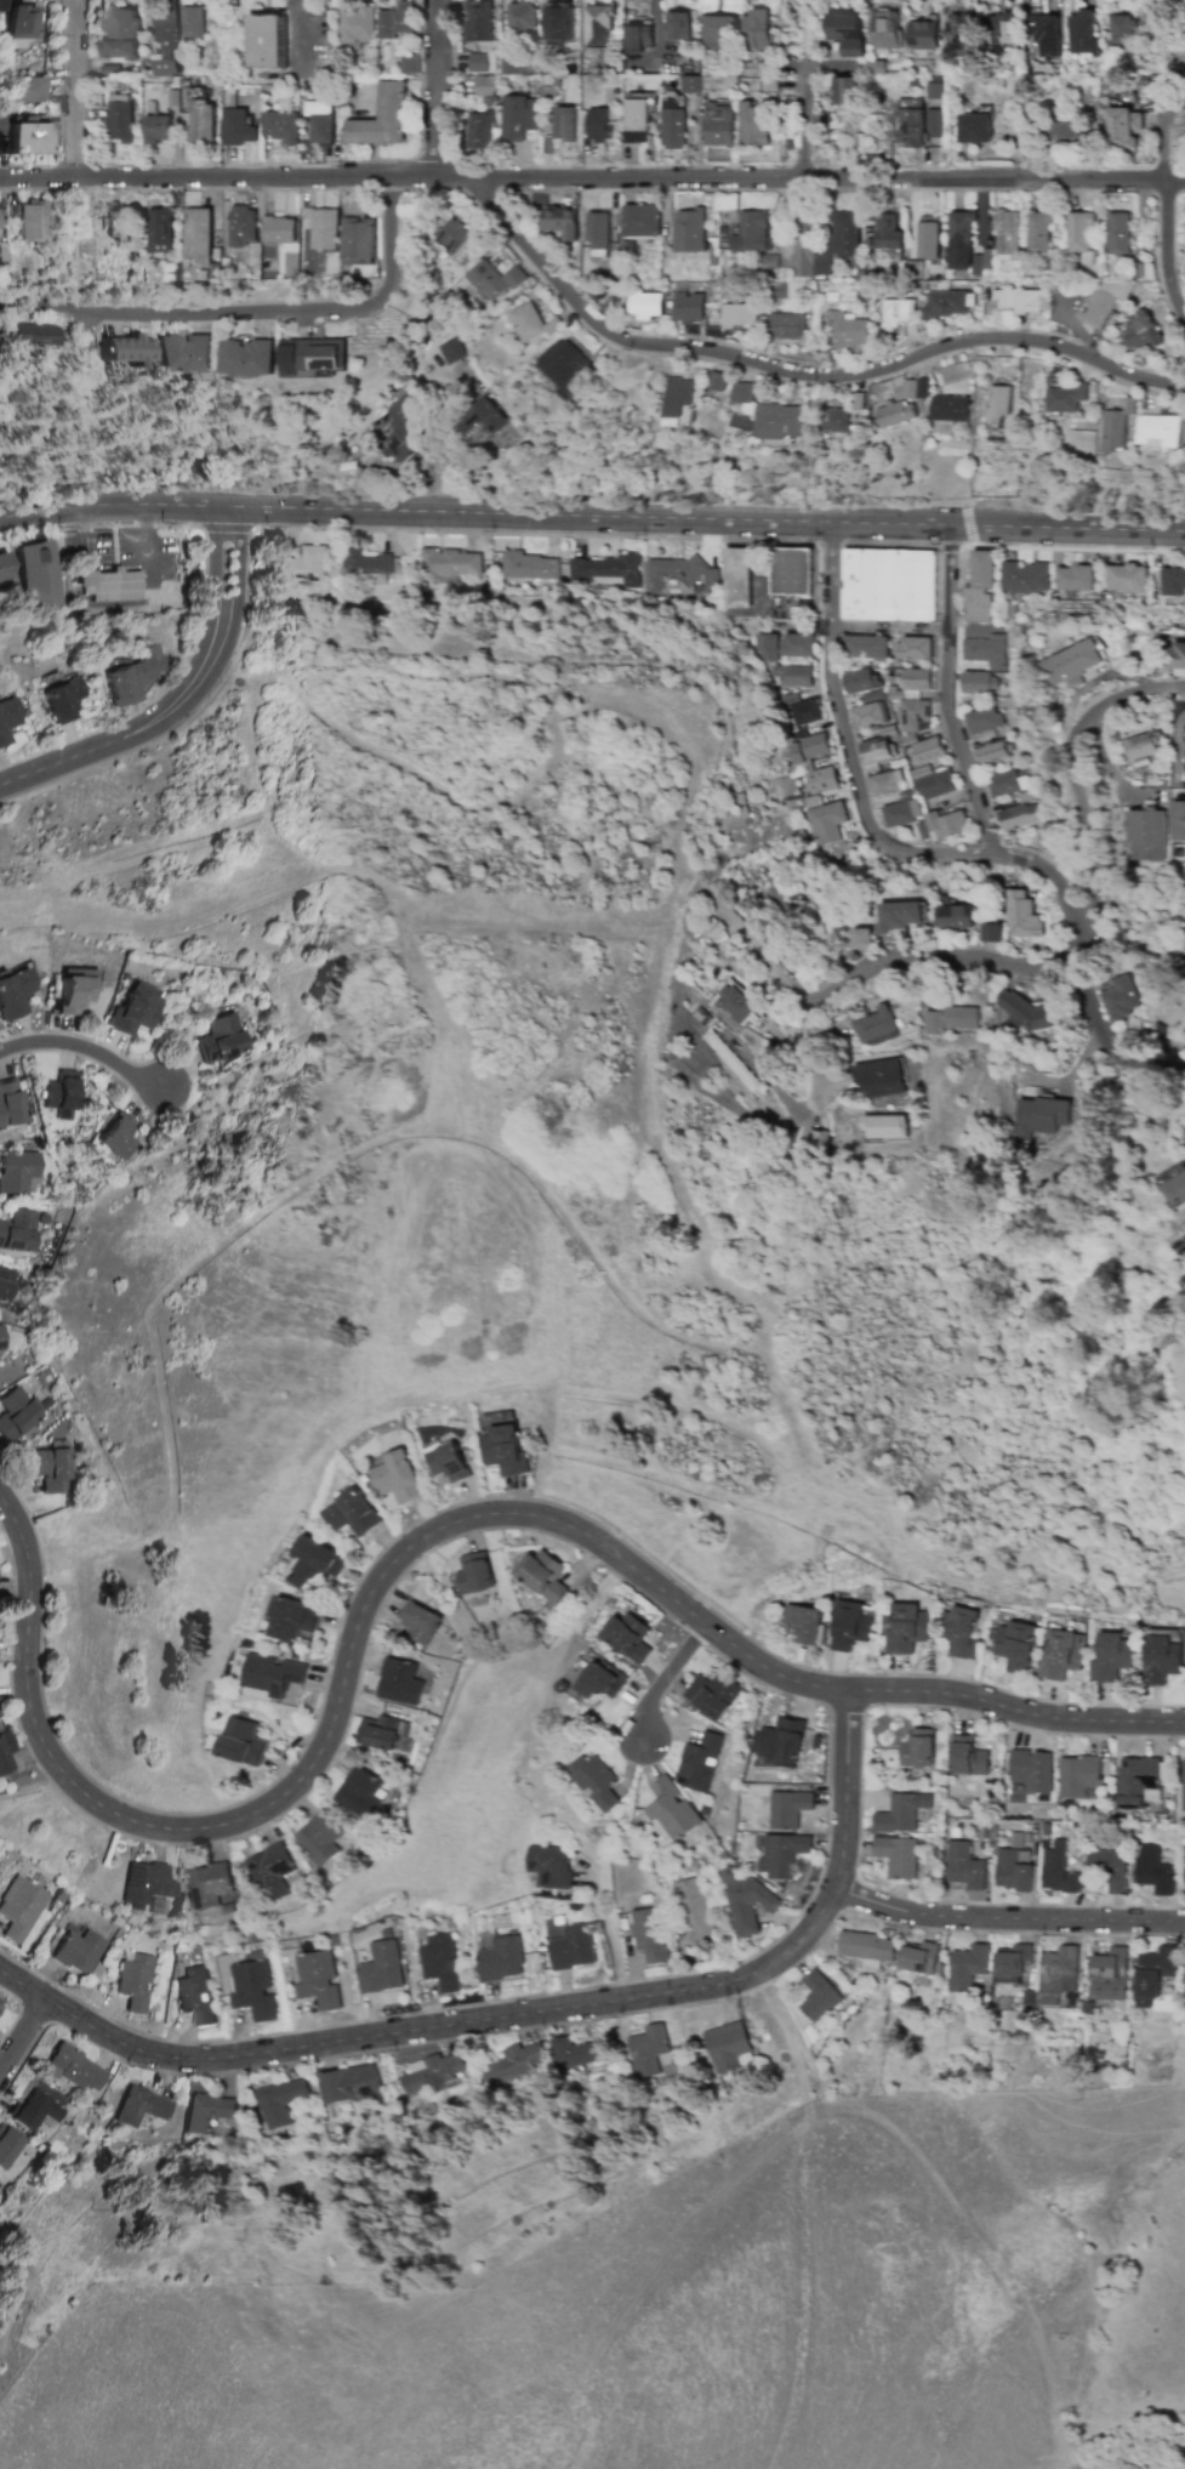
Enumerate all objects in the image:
building: (523, 18)
building: (395, 21)
building: (479, 21)
building: (962, 22)
building: (192, 23)
building: (560, 23)
building: (19, 25)
building: (359, 25)
building: (678, 25)
building: (164, 28)
building: (598, 28)
building: (1003, 28)
building: (885, 29)
building: (757, 30)
building: (718, 32)
building: (847, 33)
building: (1121, 33)
building: (1082, 34)
building: (120, 35)
building: (923, 35)
building: (1044, 35)
road: (294, 36)
building: (640, 38)
building: (267, 41)
building: (166, 62)
building: (477, 63)
building: (408, 64)
building: (508, 67)
building: (689, 84)
building: (484, 86)
building: (23, 90)
road: (75, 90)
road: (438, 91)
building: (844, 91)
road: (1178, 97)
building: (639, 115)
building: (519, 116)
building: (121, 119)
building: (381, 119)
building: (321, 121)
building: (204, 123)
building: (911, 123)
building: (565, 124)
building: (719, 124)
building: (935, 124)
building: (0, 125)
building: (599, 125)
building: (753, 125)
building: (281, 126)
building: (673, 126)
building: (238, 127)
building: (1124, 127)
building: (158, 129)
building: (973, 129)
building: (479, 131)
road: (1169, 132)
building: (1067, 135)
building: (24, 136)
road: (804, 172)
road: (582, 182)
road: (1175, 182)
building: (29, 221)
building: (563, 221)
building: (642, 221)
building: (115, 223)
building: (243, 226)
building: (321, 228)
building: (279, 229)
building: (161, 231)
building: (598, 231)
building: (690, 231)
building: (1039, 231)
building: (1079, 232)
building: (199, 233)
building: (751, 233)
building: (888, 233)
building: (1117, 233)
building: (452, 234)
building: (844, 234)
building: (1008, 235)
building: (929, 238)
building: (961, 240)
building: (358, 241)
road: (1167, 251)
building: (769, 262)
building: (822, 264)
building: (499, 279)
building: (776, 291)
building: (1019, 301)
building: (1105, 302)
building: (946, 303)
building: (645, 306)
building: (689, 308)
road: (253, 313)
building: (895, 314)
building: (740, 317)
building: (532, 323)
building: (786, 326)
road: (86, 329)
building: (845, 330)
building: (1141, 331)
building: (34, 335)
building: (124, 351)
building: (448, 351)
building: (183, 353)
building: (311, 354)
building: (246, 358)
building: (566, 366)
road: (797, 374)
building: (719, 381)
building: (917, 388)
building: (745, 393)
building: (1066, 399)
building: (680, 403)
building: (997, 404)
building: (948, 411)
building: (896, 414)
building: (484, 421)
building: (784, 421)
building: (838, 421)
building: (398, 428)
building: (1113, 431)
building: (1158, 431)
road: (591, 517)
road: (99, 527)
road: (230, 527)
road: (969, 527)
road: (330, 529)
road: (89, 536)
road: (115, 537)
road: (832, 544)
road: (855, 544)
road: (147, 545)
road: (952, 548)
parking lot: (90, 551)
parking lot: (149, 556)
building: (303, 565)
building: (369, 565)
building: (450, 565)
building: (528, 565)
building: (5, 567)
building: (603, 570)
building: (792, 571)
building: (39, 575)
building: (679, 578)
building: (1024, 578)
building: (739, 579)
building: (1073, 579)
building: (1126, 579)
building: (1172, 581)
building: (113, 585)
building: (889, 585)
building: (981, 587)
road: (959, 618)
road: (888, 628)
building: (796, 645)
building: (985, 645)
building: (765, 647)
building: (865, 647)
building: (915, 648)
building: (1175, 656)
building: (1075, 665)
building: (126, 676)
building: (791, 676)
building: (860, 681)
building: (910, 683)
building: (976, 683)
road: (946, 694)
building: (58, 696)
building: (872, 696)
building: (802, 713)
building: (868, 716)
building: (913, 716)
building: (5, 721)
building: (982, 721)
road: (139, 732)
road: (975, 741)
road: (845, 743)
building: (808, 749)
building: (928, 750)
building: (876, 751)
building: (992, 752)
road: (64, 761)
road: (554, 761)
building: (820, 780)
building: (933, 783)
building: (1005, 783)
building: (885, 784)
road: (1086, 786)
road: (695, 800)
building: (901, 813)
building: (1018, 817)
building: (1179, 820)
building: (825, 823)
road: (234, 825)
building: (946, 825)
building: (1149, 835)
road: (586, 847)
road: (1048, 864)
road: (1055, 882)
building: (780, 892)
building: (1021, 915)
building: (953, 917)
road: (540, 921)
building: (991, 933)
building: (861, 938)
road: (403, 941)
road: (876, 967)
building: (73, 989)
building: (12, 994)
building: (1120, 999)
building: (736, 1003)
building: (131, 1011)
building: (951, 1019)
building: (877, 1028)
road: (1105, 1037)
building: (217, 1039)
road: (85, 1049)
building: (881, 1079)
building: (59, 1094)
building: (10, 1103)
road: (810, 1105)
building: (1039, 1116)
building: (887, 1127)
building: (116, 1136)
building: (816, 1138)
road: (363, 1151)
building: (17, 1171)
building: (1175, 1191)
building: (17, 1230)
building: (1184, 1279)
building: (5, 1282)
building: (0, 1344)
building: (13, 1413)
building: (505, 1450)
building: (448, 1463)
building: (50, 1467)
building: (398, 1478)
road: (673, 1492)
building: (353, 1514)
road: (414, 1547)
building: (314, 1563)
building: (474, 1574)
building: (542, 1575)
building: (291, 1618)
building: (418, 1622)
building: (805, 1623)
building: (850, 1626)
building: (907, 1628)
building: (963, 1632)
building: (628, 1635)
building: (1016, 1645)
building: (1062, 1655)
building: (1162, 1656)
building: (1112, 1657)
building: (268, 1676)
building: (602, 1680)
road: (666, 1680)
building: (399, 1683)
building: (713, 1695)
building: (380, 1733)
building: (241, 1742)
building: (781, 1743)
building: (917, 1750)
building: (4, 1751)
building: (968, 1757)
building: (699, 1763)
building: (1078, 1776)
building: (1136, 1780)
building: (596, 1781)
building: (1183, 1787)
building: (358, 1794)
building: (671, 1809)
building: (790, 1809)
building: (901, 1813)
building: (318, 1838)
building: (782, 1854)
building: (898, 1856)
building: (552, 1865)
building: (964, 1866)
building: (1112, 1868)
building: (1014, 1870)
building: (1152, 1870)
building: (270, 1872)
building: (146, 1884)
building: (209, 1884)
building: (1184, 1885)
building: (746, 1900)
building: (22, 1910)
building: (694, 1910)
road: (1007, 1921)
road: (610, 1933)
building: (646, 1934)
building: (866, 1946)
building: (572, 1947)
building: (78, 1951)
building: (919, 1958)
building: (501, 1959)
building: (440, 1962)
building: (1013, 1963)
building: (968, 1967)
building: (381, 1968)
building: (1060, 1970)
building: (1156, 1974)
building: (1111, 1975)
building: (133, 1980)
building: (318, 1980)
building: (253, 1990)
building: (194, 1995)
building: (819, 1997)
road: (524, 2012)
road: (22, 2038)
building: (728, 2047)
building: (648, 2049)
building: (577, 2053)
building: (517, 2061)
building: (74, 2069)
building: (433, 2072)
building: (349, 2083)
building: (279, 2103)
building: (139, 2106)
building: (32, 2111)
building: (205, 2111)
road: (871, 2116)
building: (7, 2146)
road: (1173, 2463)

